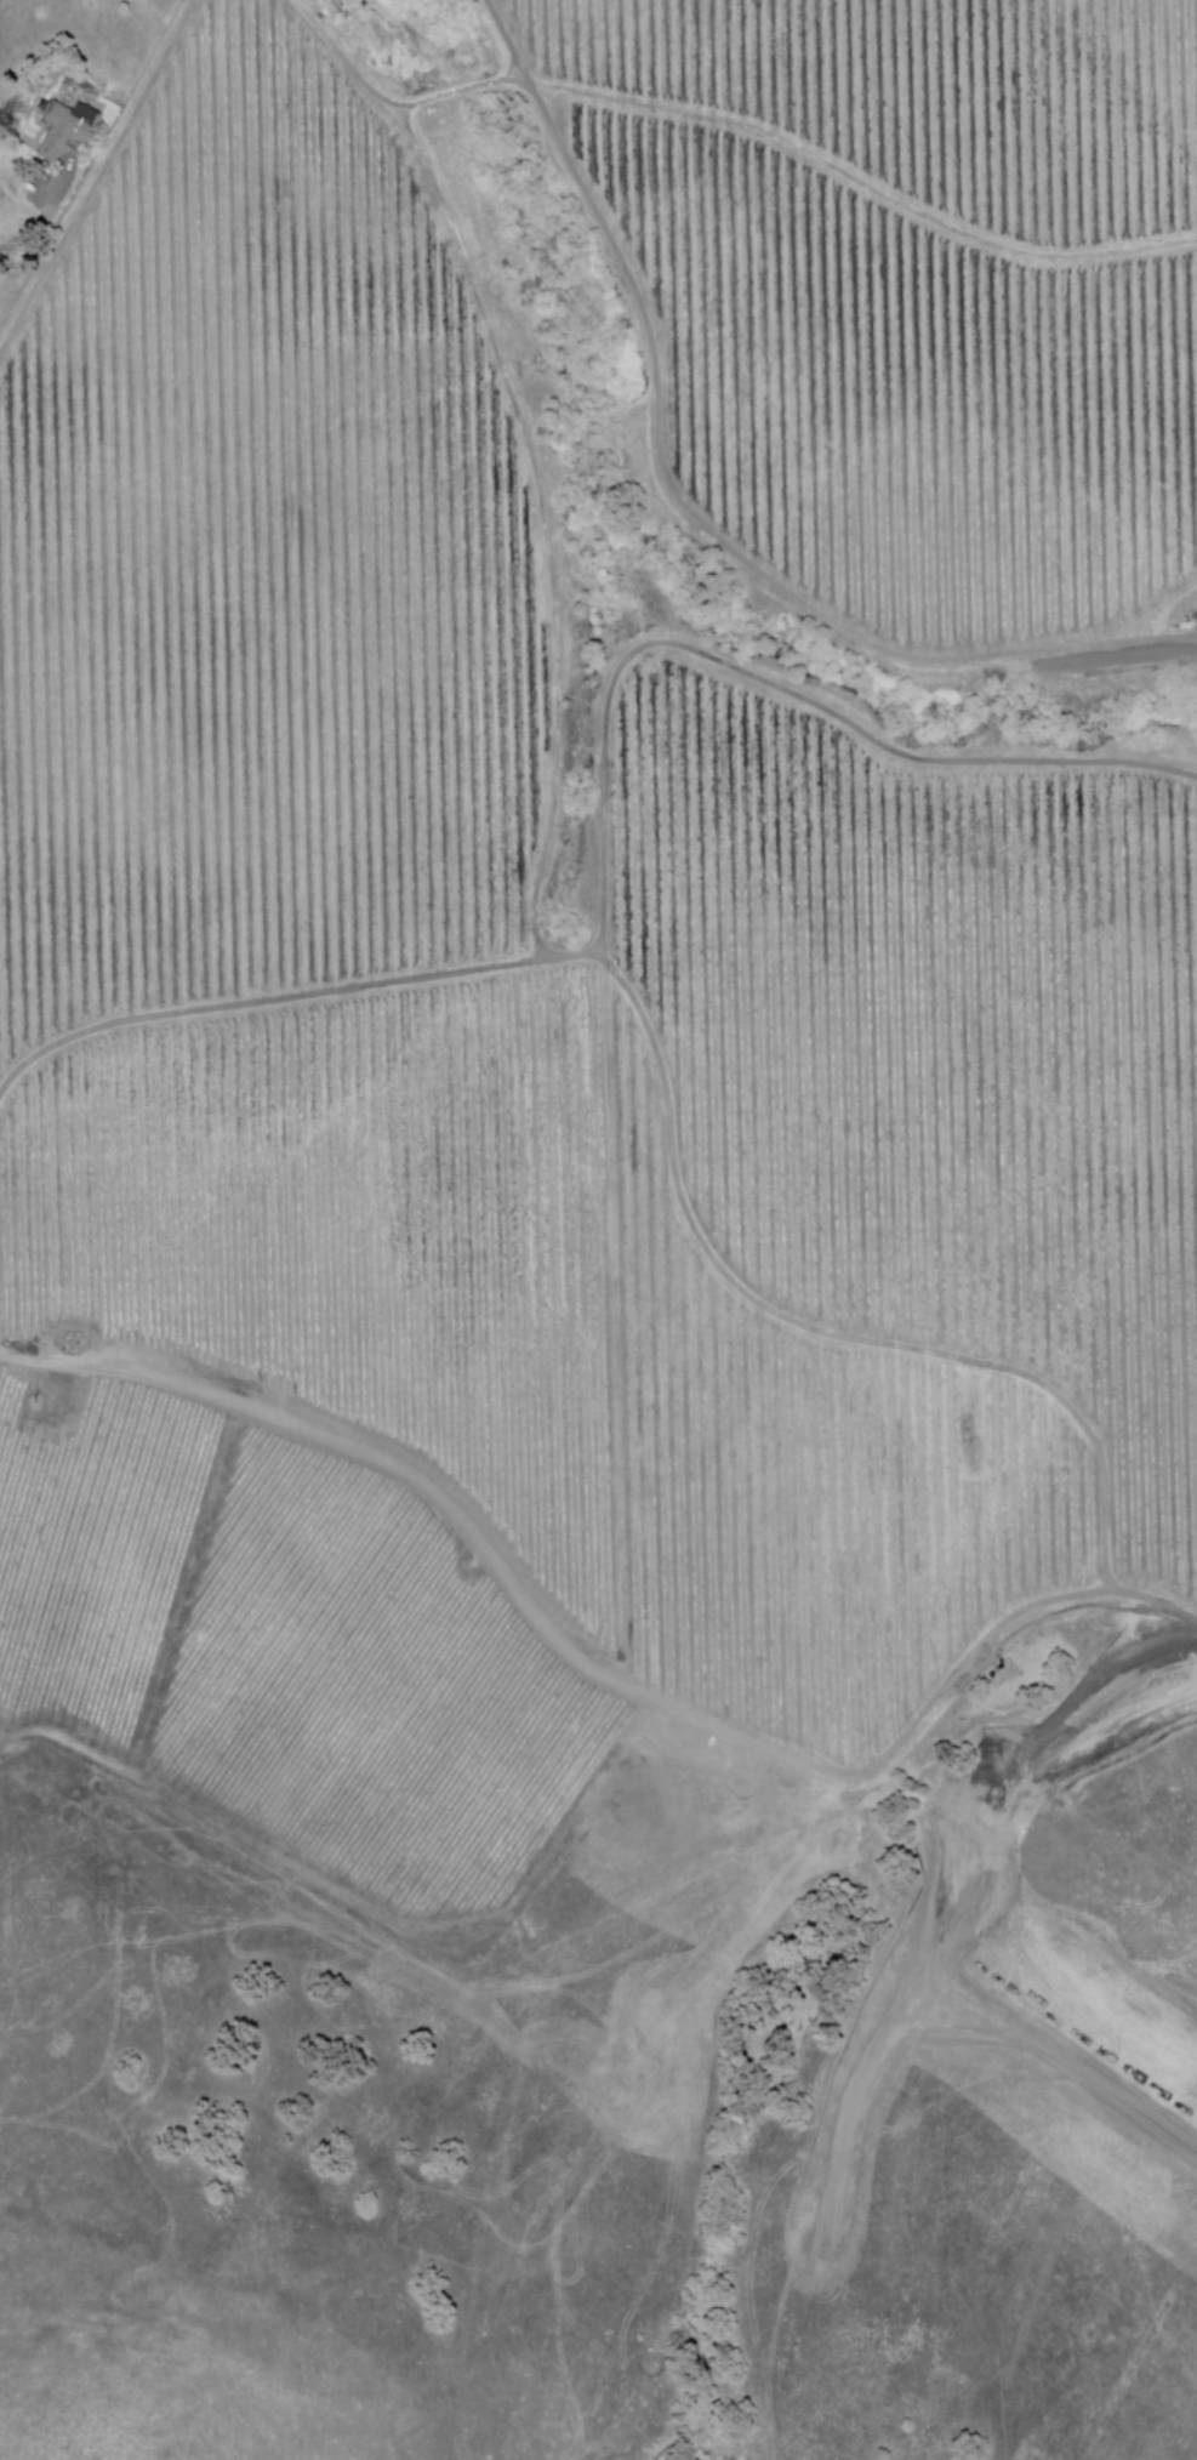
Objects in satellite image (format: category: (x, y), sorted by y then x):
road: (734, 124)
building: (68, 130)
road: (98, 180)
road: (23, 237)
road: (688, 509)
road: (545, 524)
road: (606, 873)
road: (296, 998)
road: (827, 1334)
road: (593, 1675)

